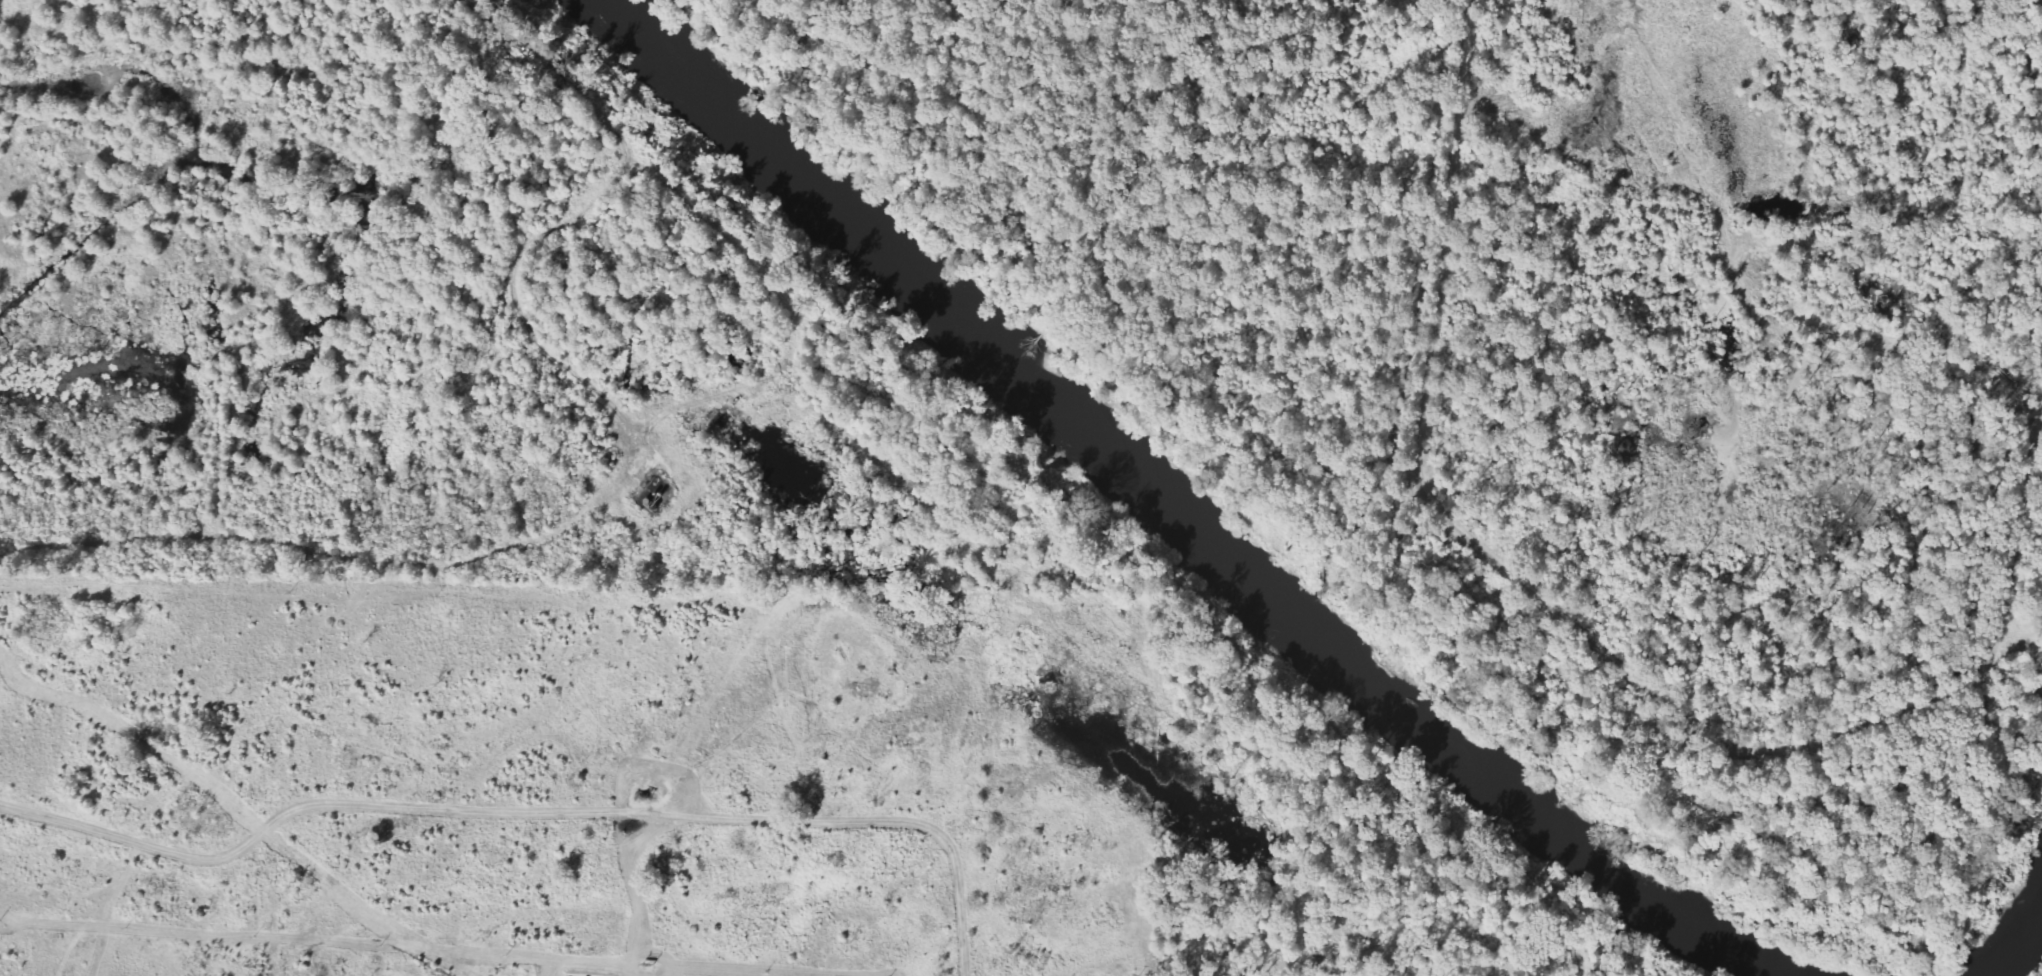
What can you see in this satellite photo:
river: (1176, 519)
river: (2019, 943)

